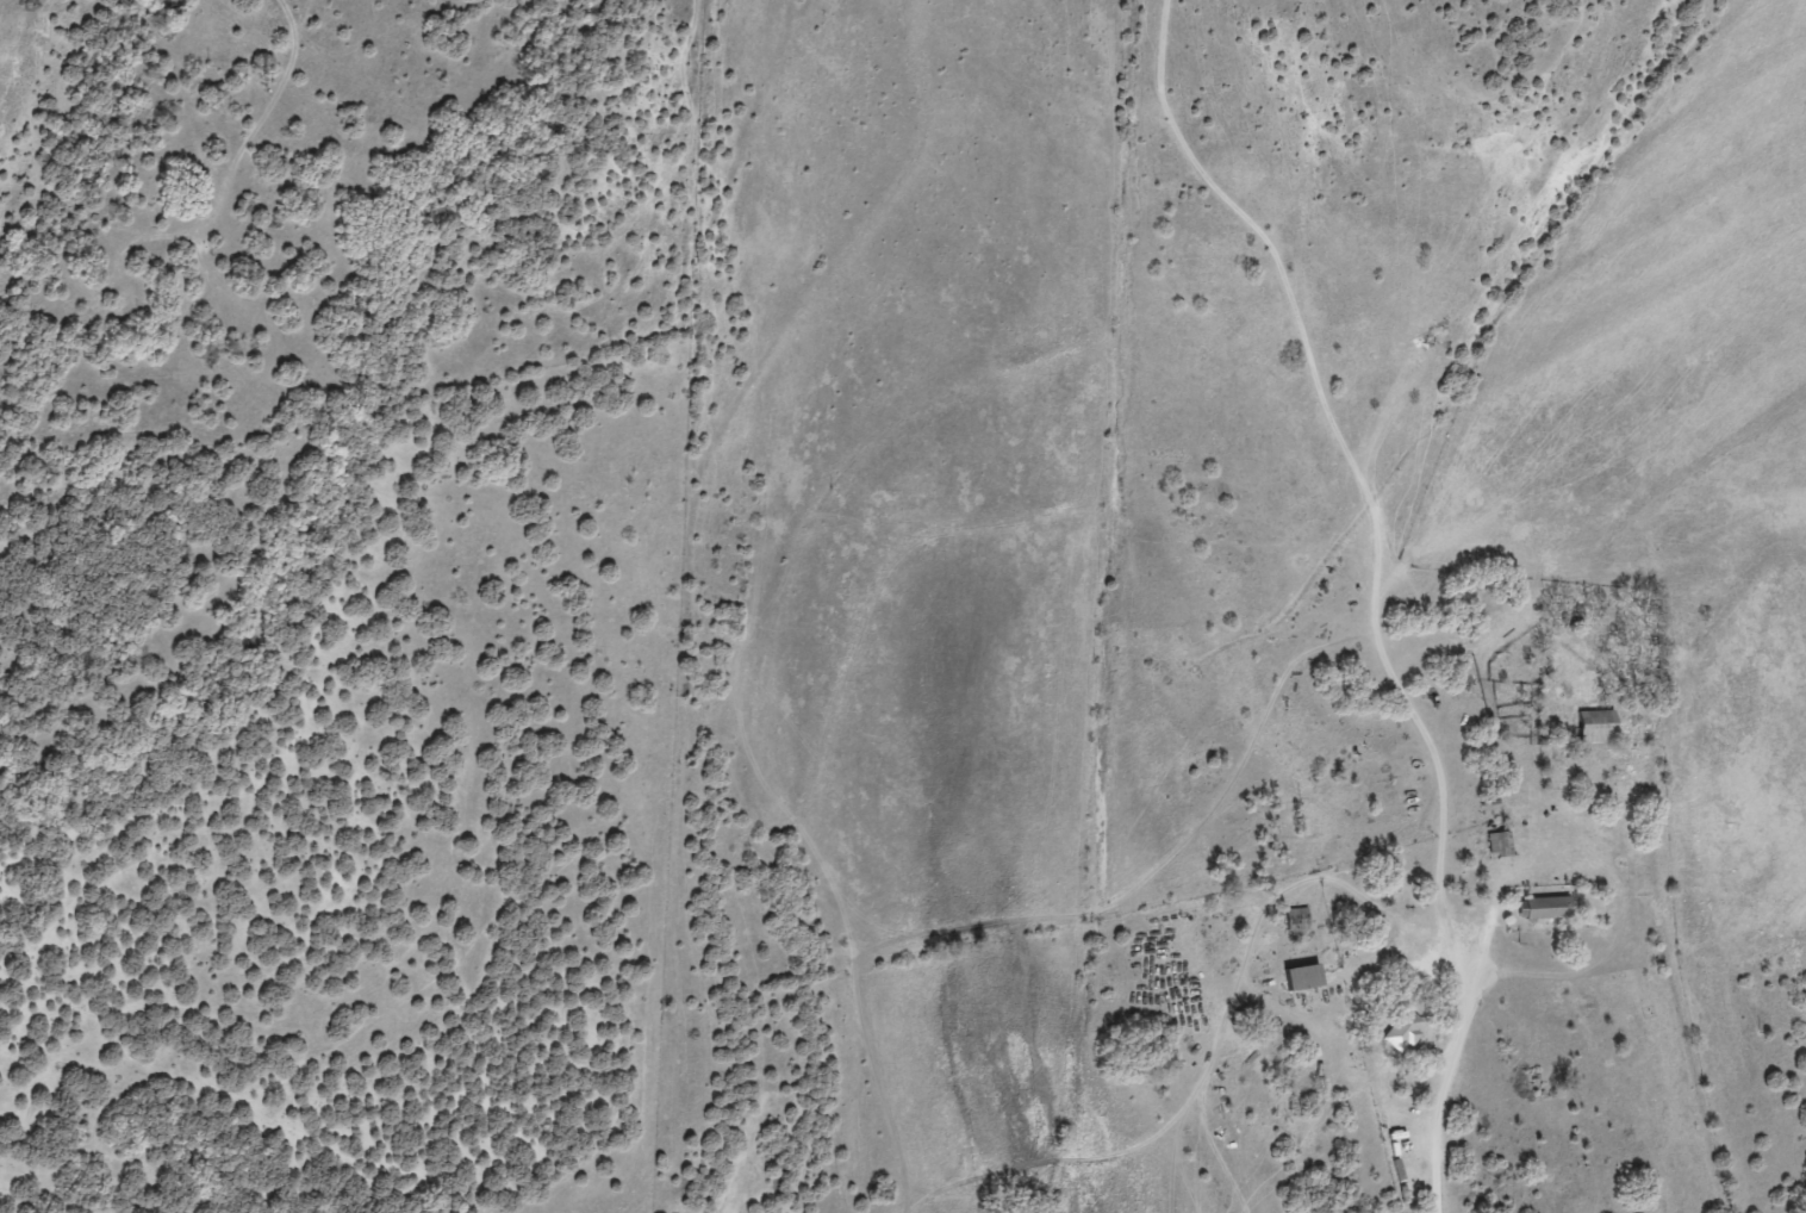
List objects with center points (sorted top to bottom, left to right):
building: (1596, 727)
building: (1545, 908)
building: (1297, 919)
building: (1303, 977)
building: (1402, 1031)
road: (1430, 1114)

